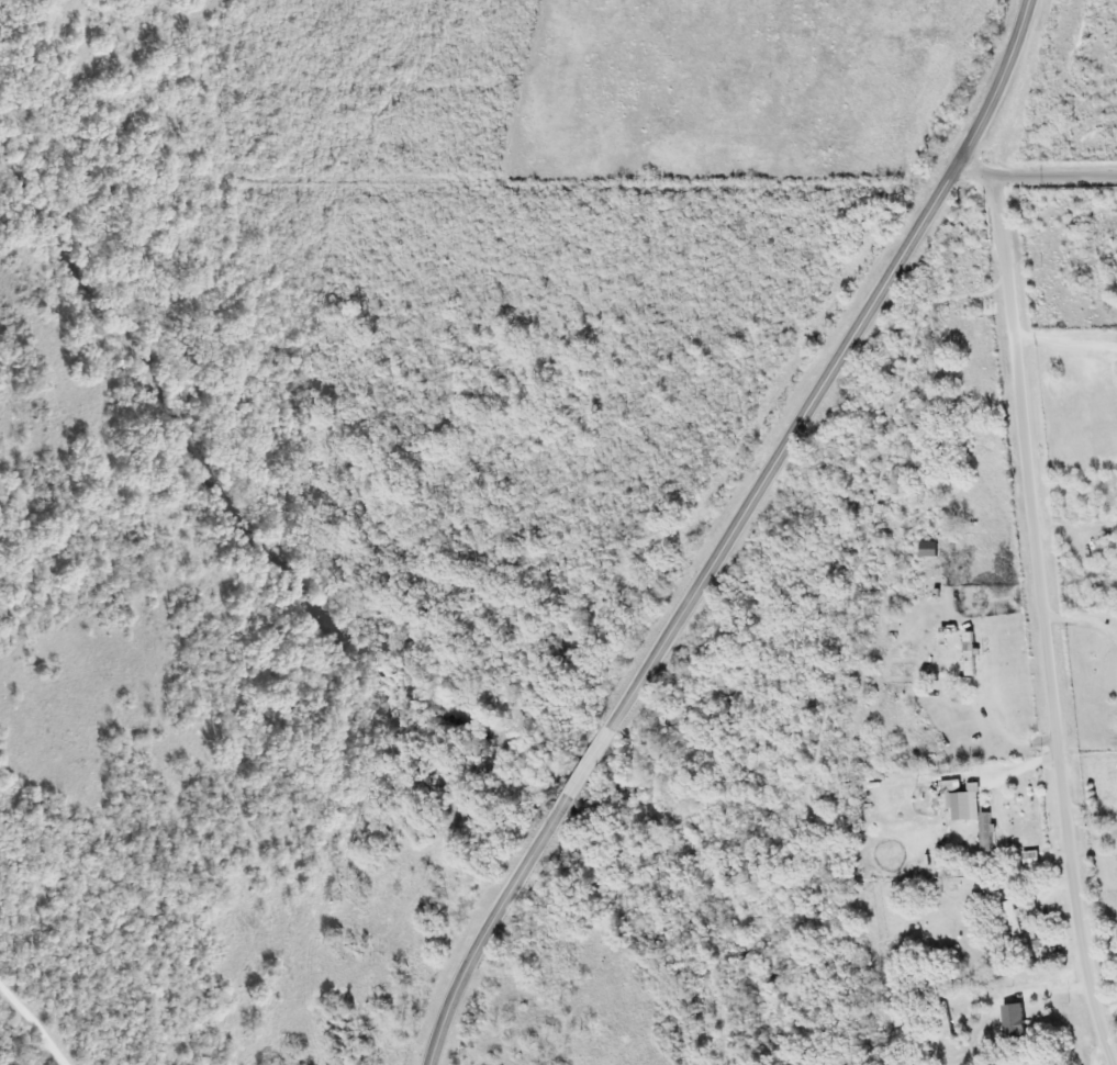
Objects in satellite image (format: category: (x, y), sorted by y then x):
road: (1035, 175)
road: (735, 534)
road: (1041, 621)
building: (969, 652)
building: (973, 814)
building: (1029, 857)
building: (1010, 917)
road: (20, 1029)
building: (946, 1030)

